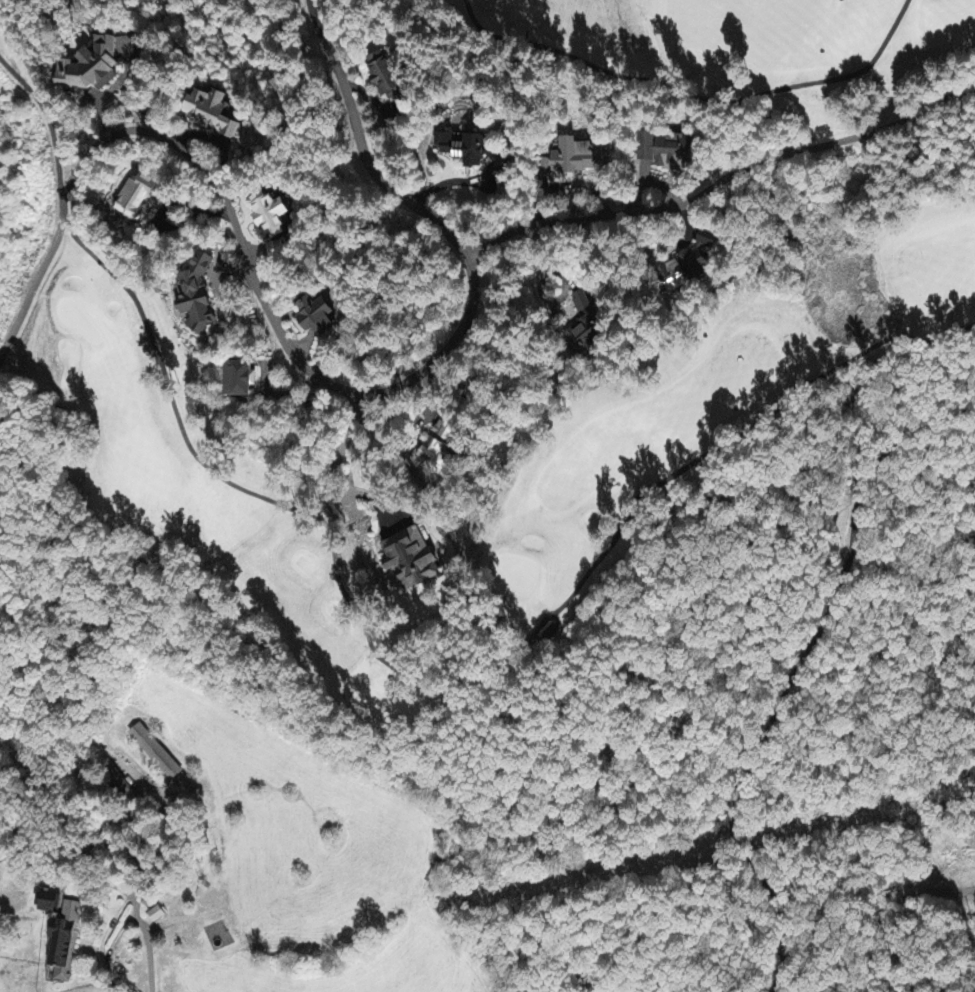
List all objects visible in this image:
park: (764, 44)
building: (90, 68)
building: (384, 76)
building: (211, 113)
building: (663, 149)
building: (472, 152)
building: (575, 158)
building: (543, 167)
road: (719, 185)
building: (135, 197)
building: (270, 216)
building: (688, 264)
building: (195, 296)
building: (314, 318)
building: (584, 330)
road: (299, 362)
building: (238, 381)
park: (731, 385)
building: (446, 431)
building: (428, 457)
building: (410, 560)
road: (768, 713)
building: (154, 754)
building: (47, 902)
building: (156, 915)
building: (64, 940)
road: (138, 962)

